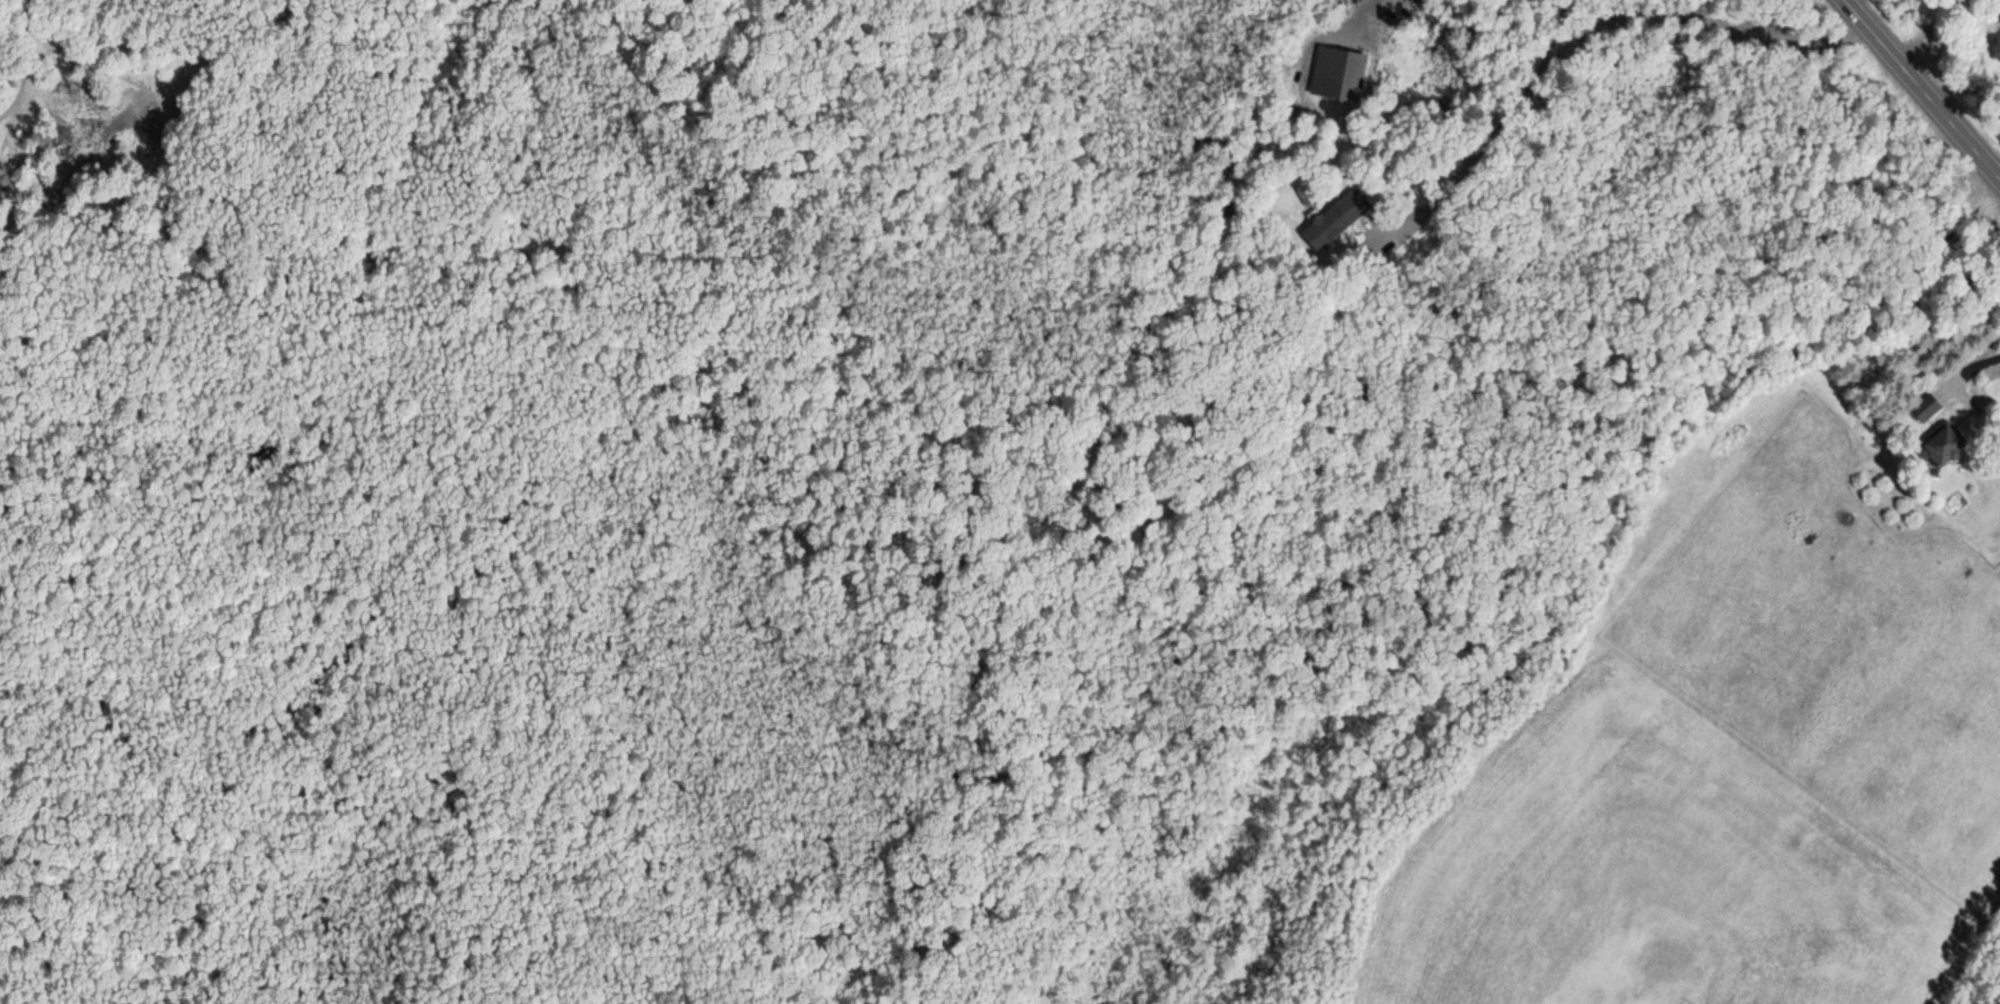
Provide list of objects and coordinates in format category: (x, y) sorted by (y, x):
road: (1324, 16)
building: (1381, 56)
building: (1334, 61)
road: (1922, 88)
road: (1480, 134)
building: (1334, 207)
building: (1924, 409)
building: (1938, 447)

